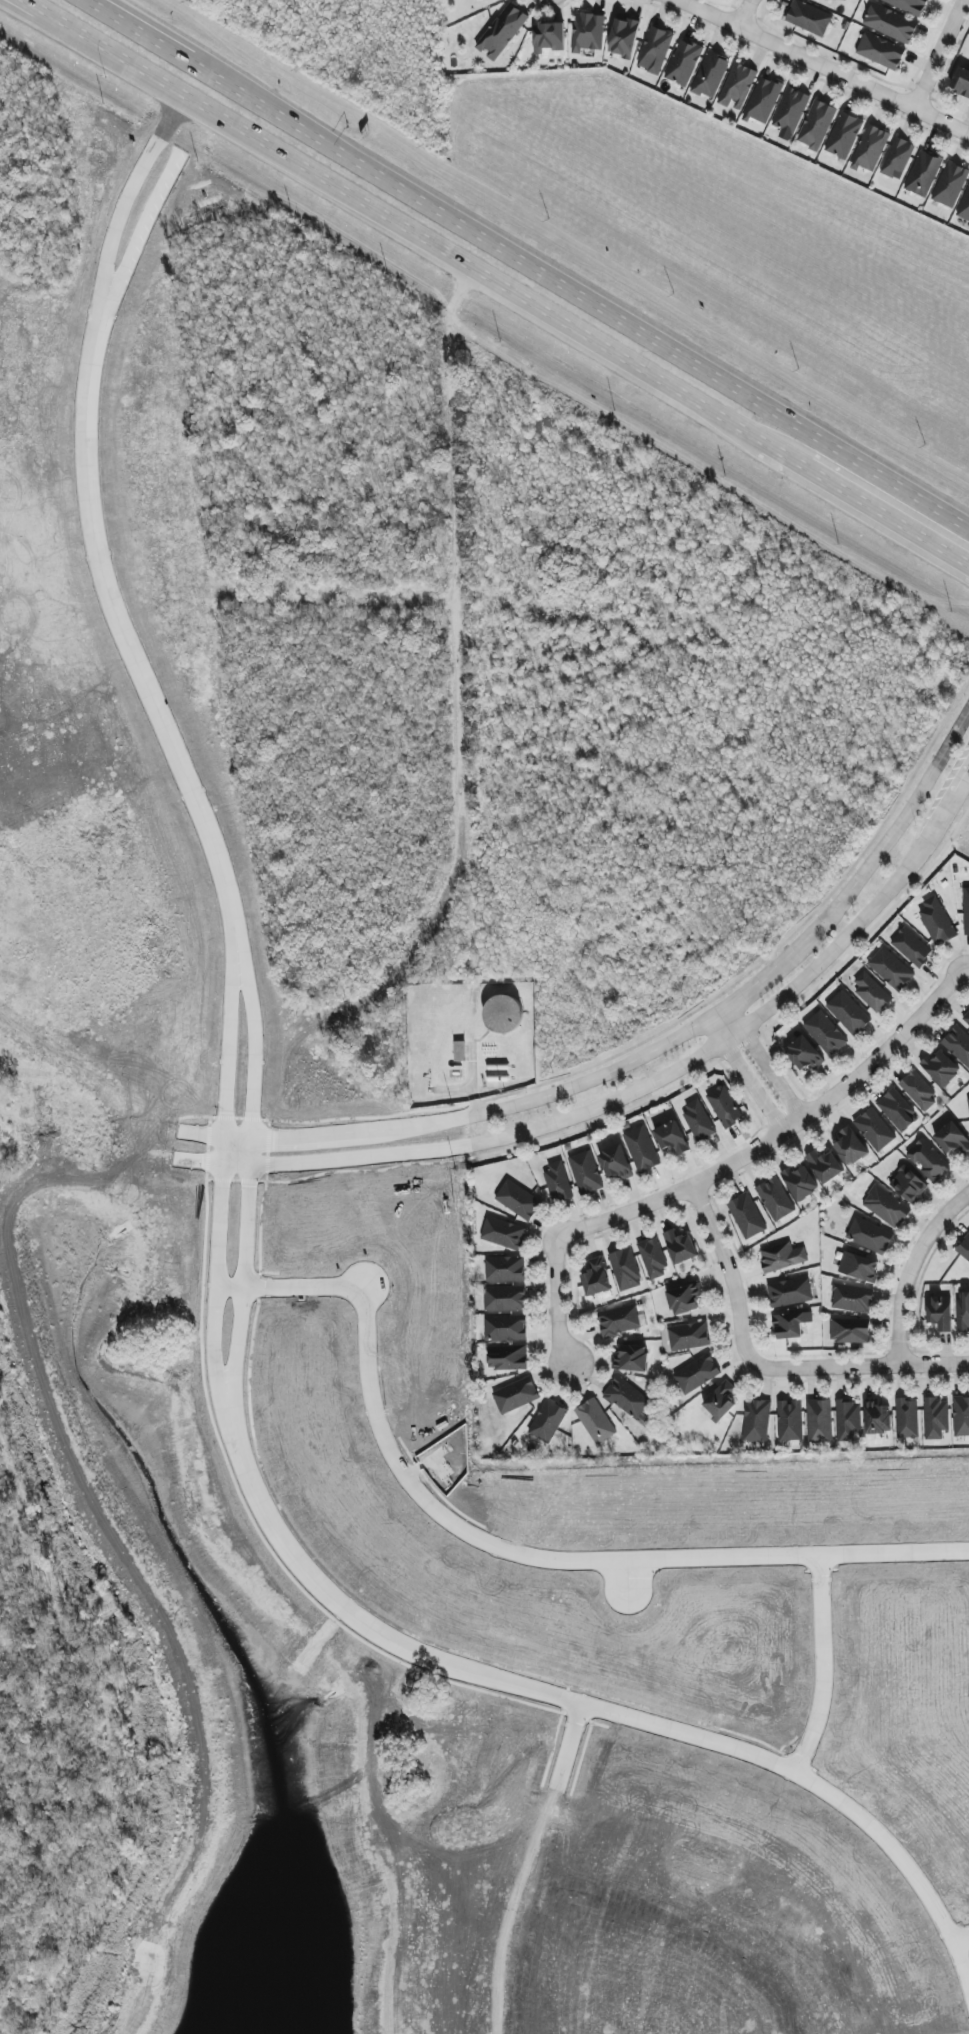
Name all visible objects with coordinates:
building: (841, 0)
building: (908, 5)
road: (743, 12)
road: (50, 15)
building: (809, 18)
road: (37, 19)
building: (890, 23)
building: (502, 32)
building: (588, 32)
building: (548, 37)
building: (623, 38)
road: (185, 43)
road: (166, 49)
building: (655, 50)
building: (880, 51)
road: (937, 53)
road: (129, 63)
building: (683, 63)
road: (821, 64)
building: (710, 74)
building: (961, 81)
building: (737, 86)
building: (763, 100)
building: (791, 109)
building: (817, 125)
building: (844, 136)
building: (870, 148)
building: (898, 159)
building: (923, 174)
building: (950, 185)
building: (965, 207)
road: (470, 267)
road: (608, 314)
road: (99, 316)
road: (864, 502)
road: (457, 549)
road: (125, 633)
building: (966, 911)
building: (936, 921)
building: (911, 947)
road: (237, 949)
building: (891, 969)
road: (968, 969)
building: (871, 991)
building: (848, 1013)
water tower: (502, 1014)
building: (503, 1014)
building: (966, 1018)
building: (825, 1033)
road: (665, 1041)
building: (958, 1044)
building: (460, 1051)
building: (804, 1054)
road: (759, 1063)
building: (941, 1068)
road: (743, 1073)
road: (470, 1079)
road: (656, 1080)
road: (450, 1089)
building: (919, 1091)
building: (968, 1102)
building: (724, 1106)
building: (898, 1110)
building: (698, 1120)
building: (874, 1130)
building: (672, 1137)
building: (952, 1139)
road: (221, 1146)
building: (850, 1147)
building: (641, 1149)
building: (928, 1160)
building: (615, 1163)
road: (727, 1163)
building: (825, 1166)
building: (585, 1172)
building: (800, 1181)
building: (558, 1182)
building: (908, 1185)
building: (775, 1199)
building: (518, 1200)
building: (886, 1207)
building: (746, 1216)
building: (503, 1233)
building: (870, 1236)
building: (680, 1247)
building: (964, 1248)
building: (653, 1257)
building: (782, 1257)
building: (859, 1267)
road: (910, 1268)
building: (504, 1269)
building: (625, 1269)
building: (596, 1278)
building: (790, 1292)
building: (504, 1298)
building: (852, 1298)
building: (684, 1299)
building: (940, 1312)
building: (963, 1313)
building: (619, 1321)
building: (790, 1325)
building: (505, 1328)
building: (850, 1330)
building: (688, 1336)
building: (507, 1357)
building: (632, 1357)
road: (767, 1366)
building: (696, 1374)
building: (515, 1396)
building: (626, 1397)
building: (720, 1400)
building: (961, 1416)
building: (878, 1418)
building: (906, 1418)
building: (935, 1418)
building: (547, 1420)
building: (756, 1420)
building: (789, 1420)
building: (847, 1420)
building: (595, 1421)
building: (819, 1421)
road: (231, 1431)
road: (501, 1547)
road: (627, 1572)
road: (823, 1665)
road: (598, 1708)
road: (527, 1866)
road: (961, 1935)

